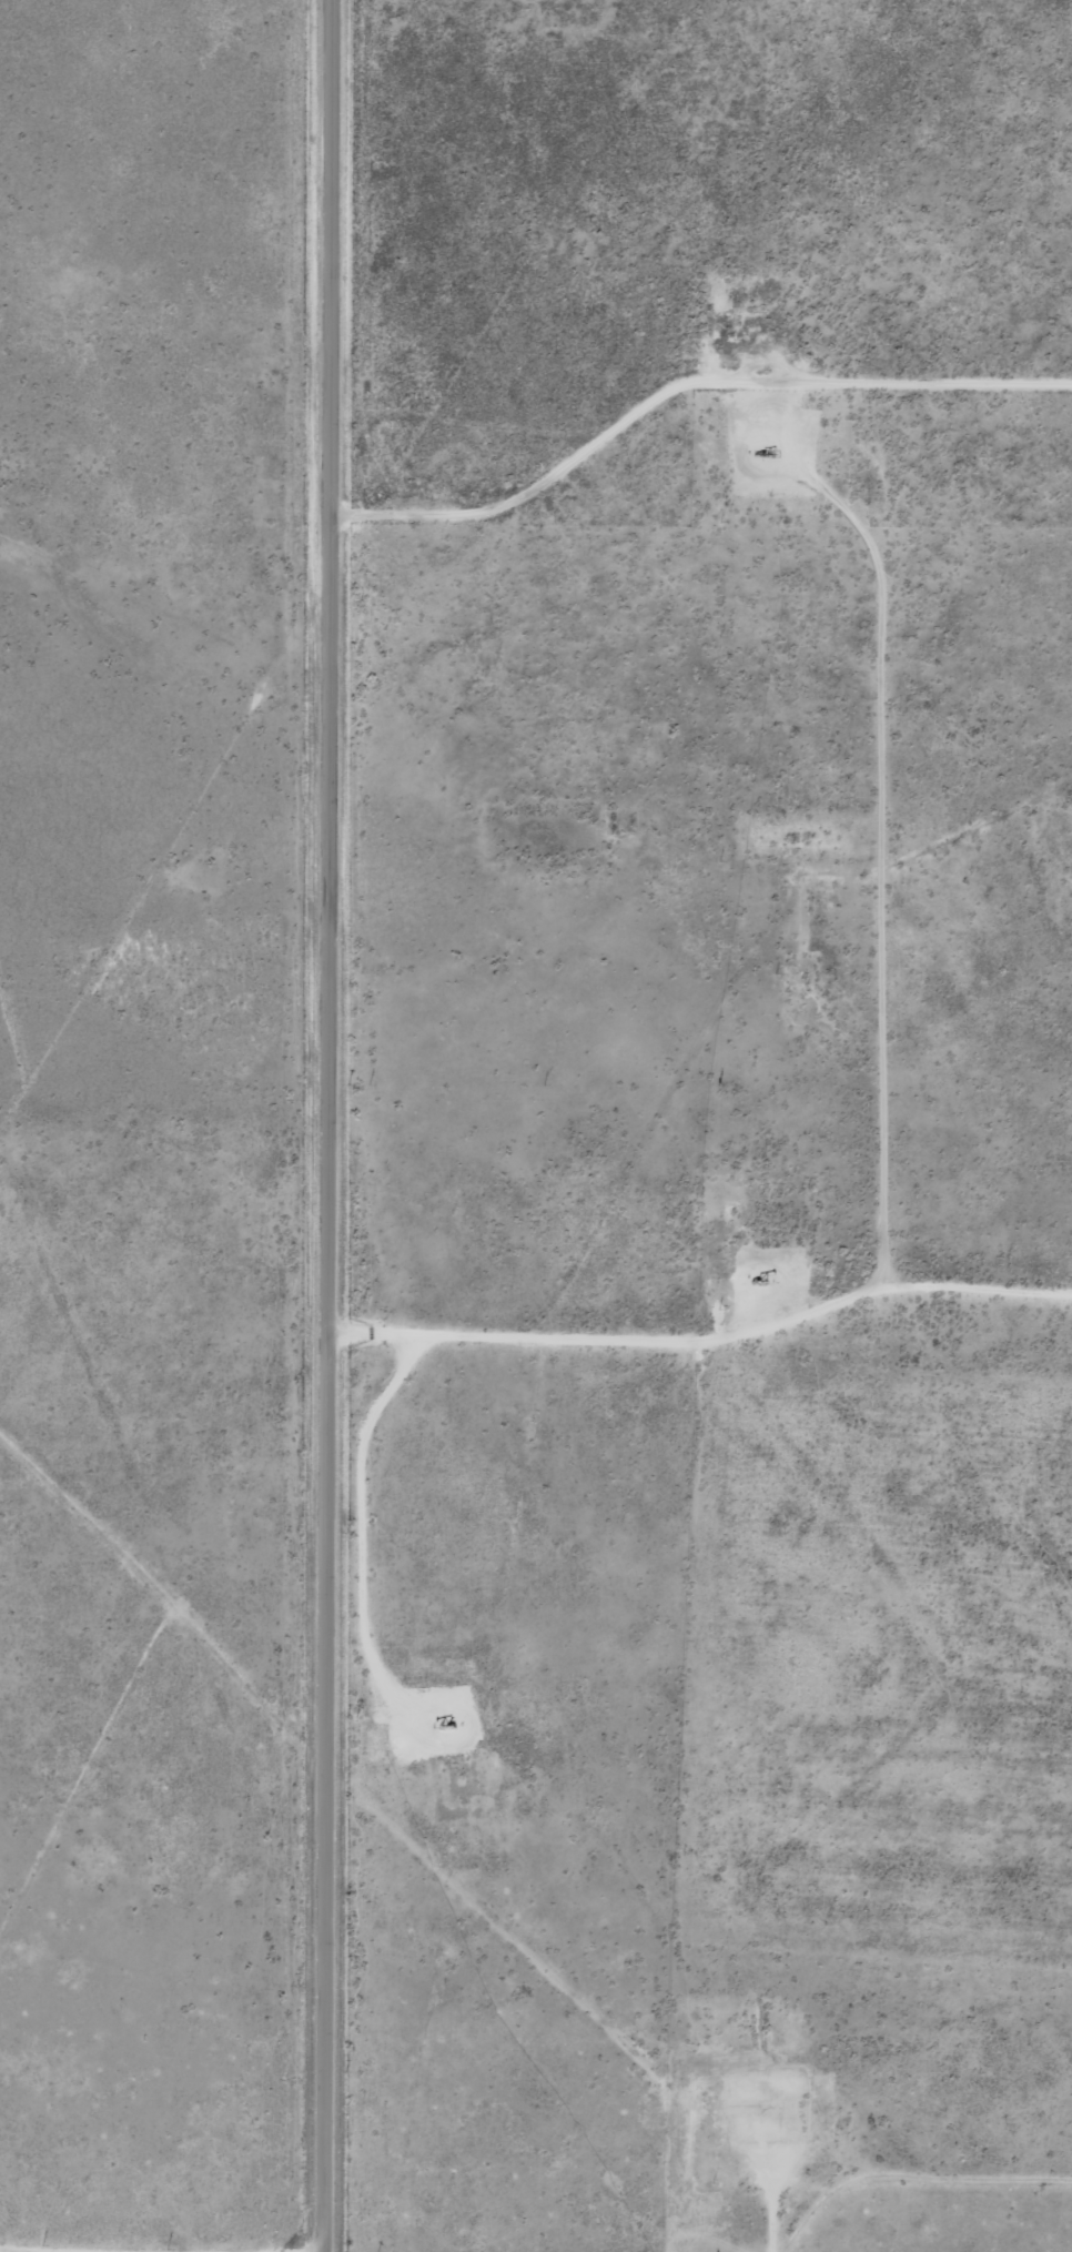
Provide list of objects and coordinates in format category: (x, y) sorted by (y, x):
airport: (685, 229)
road: (888, 842)
road: (323, 1125)
road: (700, 1312)
road: (769, 2221)
road: (88, 2250)

